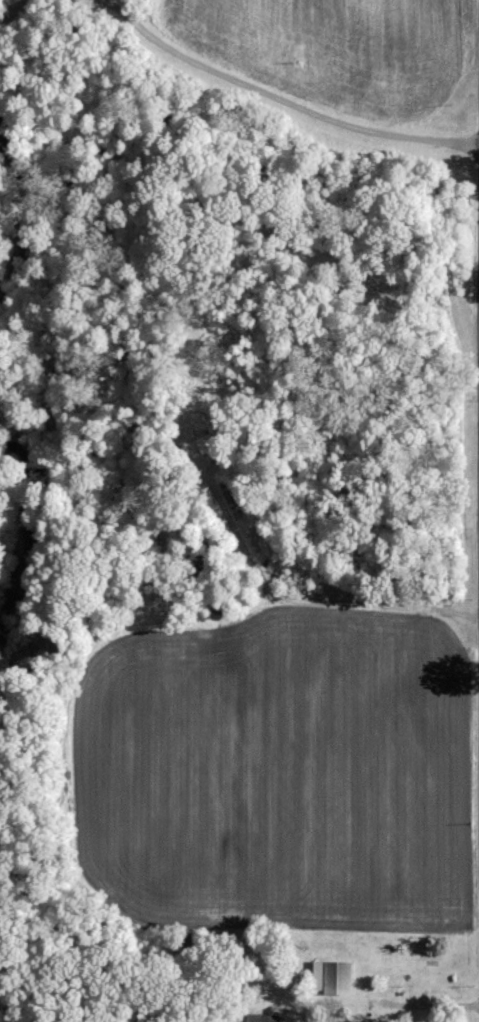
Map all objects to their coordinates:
building: (209, 443)
road: (307, 600)
building: (336, 978)
building: (266, 1018)

